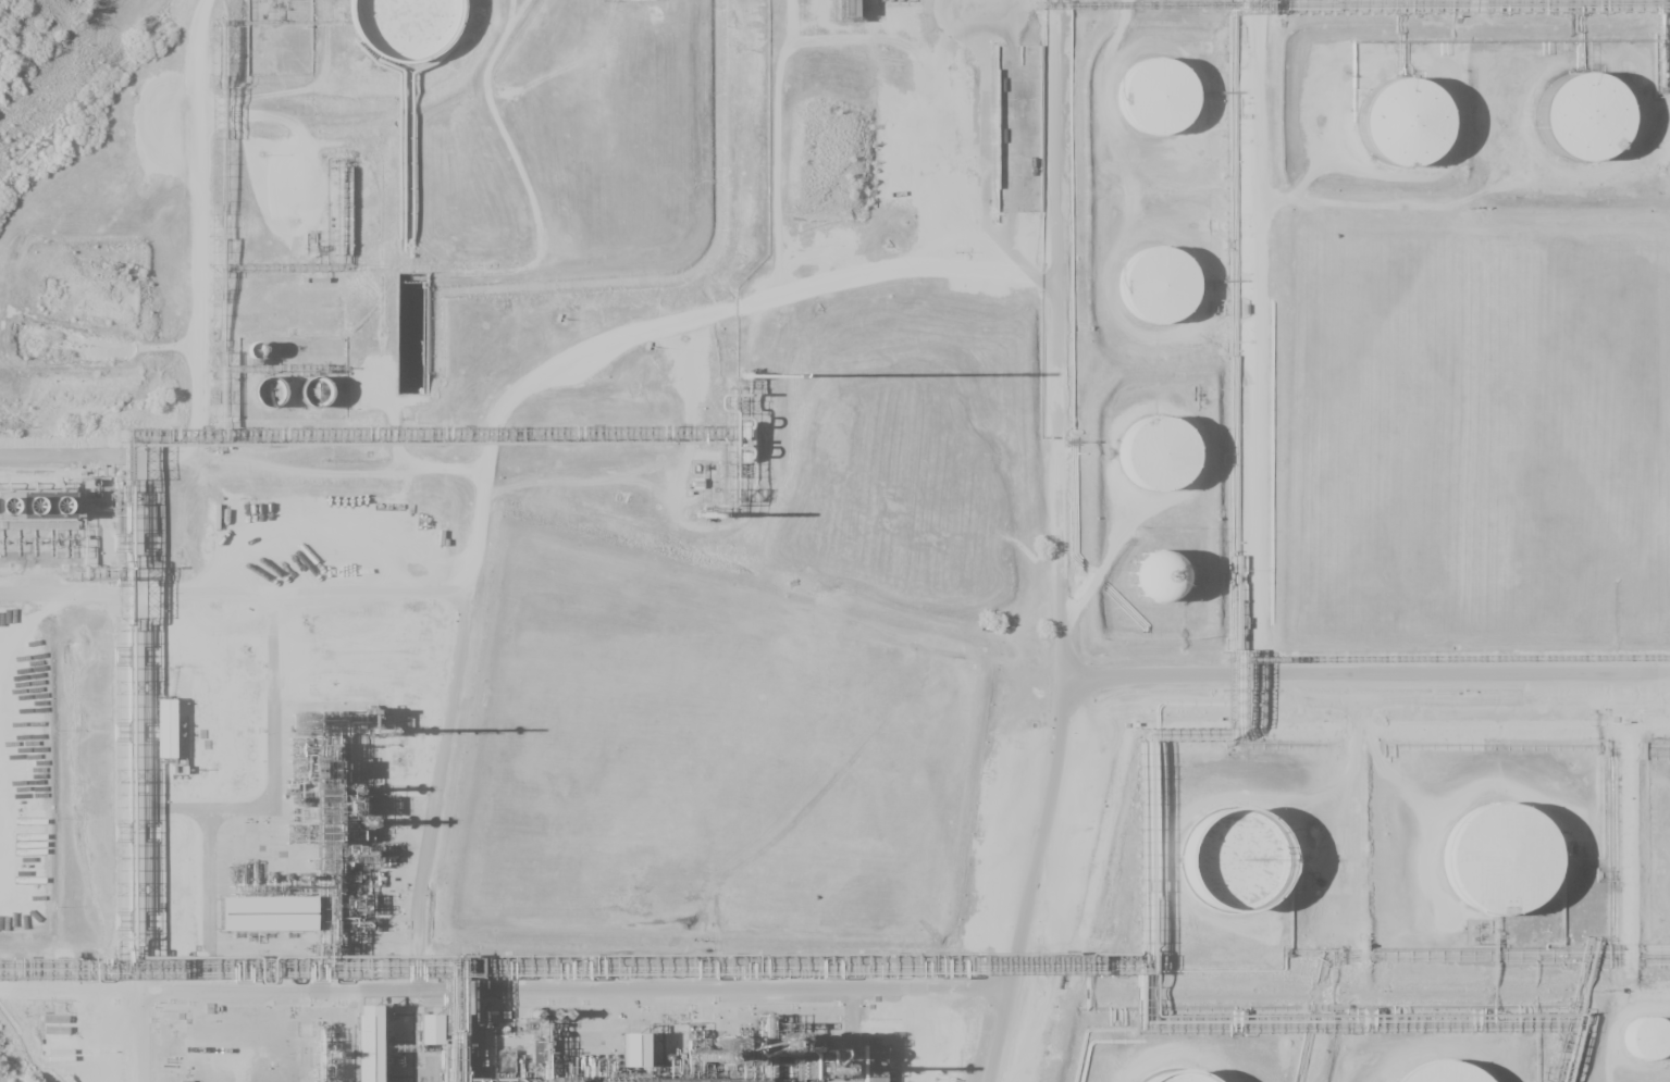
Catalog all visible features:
road: (514, 14)
building: (415, 28)
storage tank: (415, 28)
building: (1167, 109)
storage tank: (1167, 109)
building: (1597, 126)
storage tank: (1597, 126)
building: (1417, 133)
storage tank: (1417, 133)
road: (514, 152)
road: (198, 225)
building: (1165, 295)
storage tank: (1165, 295)
road: (1254, 336)
road: (573, 365)
building: (314, 390)
building: (274, 393)
building: (1167, 465)
storage tank: (1167, 465)
building: (15, 507)
road: (1052, 544)
building: (1155, 577)
road: (359, 587)
road: (1360, 671)
road: (136, 701)
building: (165, 729)
building: (1511, 870)
storage tank: (1511, 870)
building: (1250, 871)
storage tank: (1250, 871)
building: (284, 926)
road: (139, 1017)
building: (428, 1029)
building: (443, 1040)
building: (367, 1043)
building: (1656, 1046)
storage tank: (1656, 1046)
building: (383, 1049)
building: (632, 1049)
building: (873, 1064)
building: (1172, 1078)
building: (1452, 1078)
storage tank: (1452, 1078)

